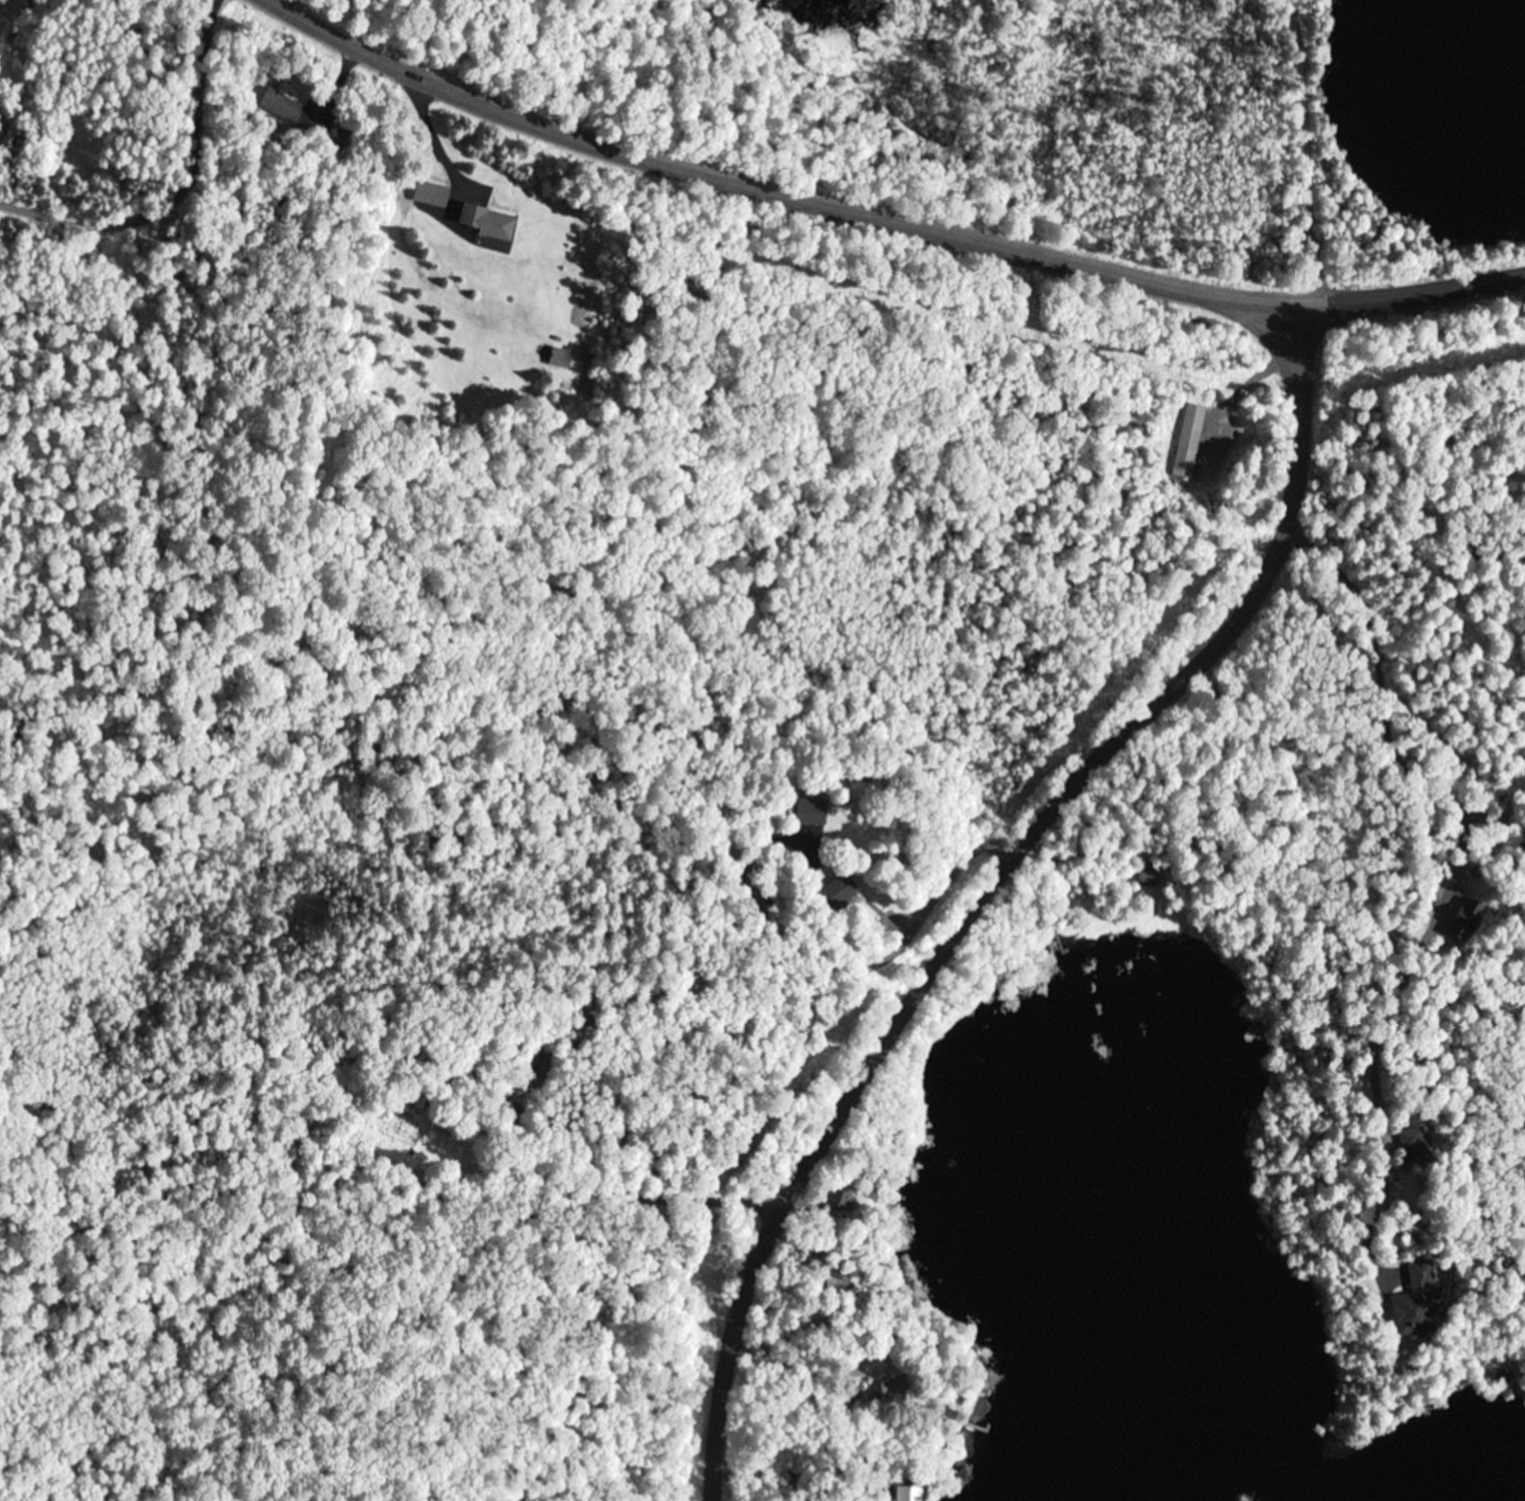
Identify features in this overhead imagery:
road: (891, 213)
road: (1397, 767)
road: (991, 875)

